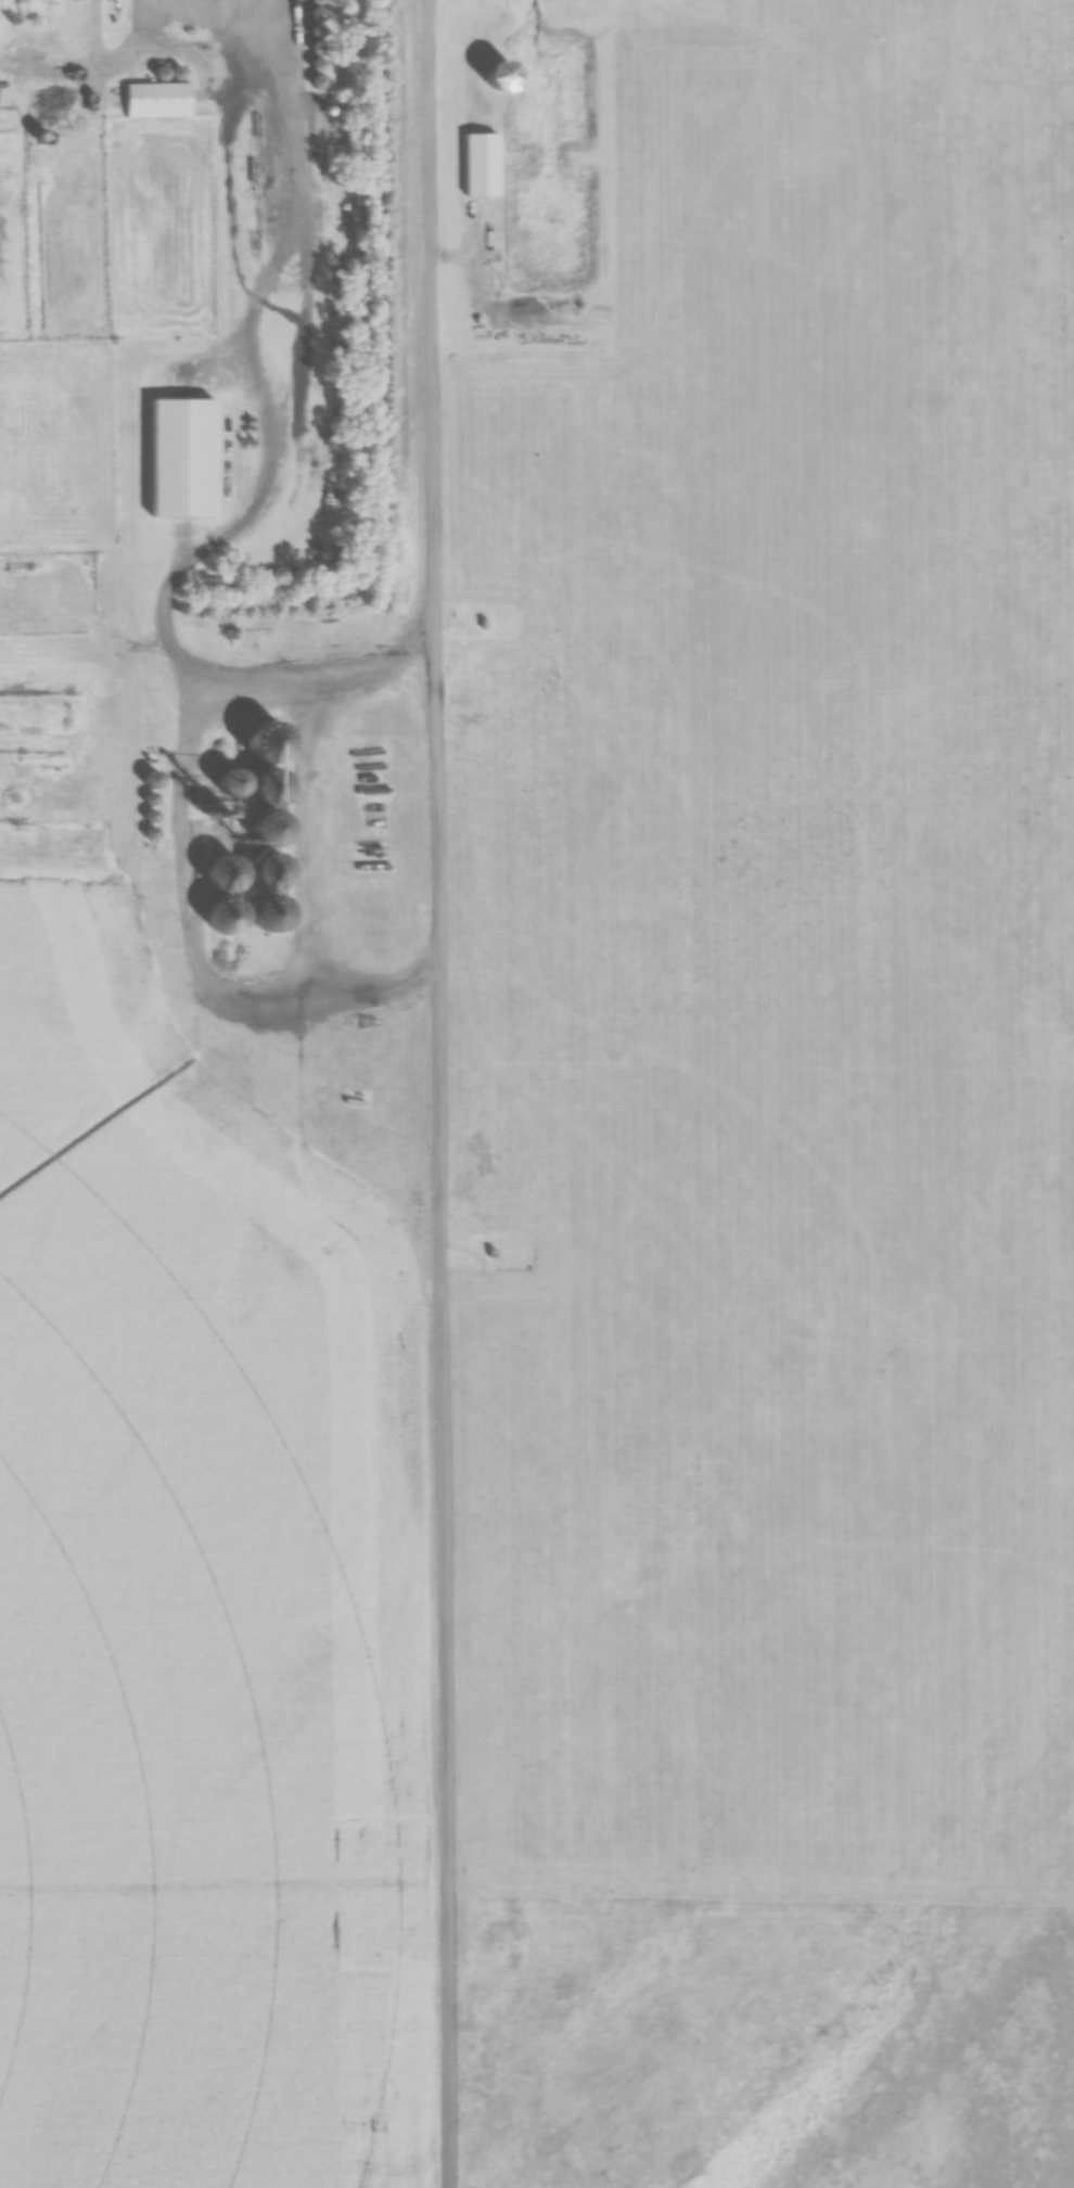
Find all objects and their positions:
building: (502, 73)
building: (157, 99)
building: (44, 104)
building: (481, 163)
building: (152, 779)
building: (230, 783)
building: (271, 786)
building: (215, 806)
building: (268, 830)
building: (222, 873)
building: (268, 873)
building: (267, 913)
building: (226, 916)
road: (450, 1093)

